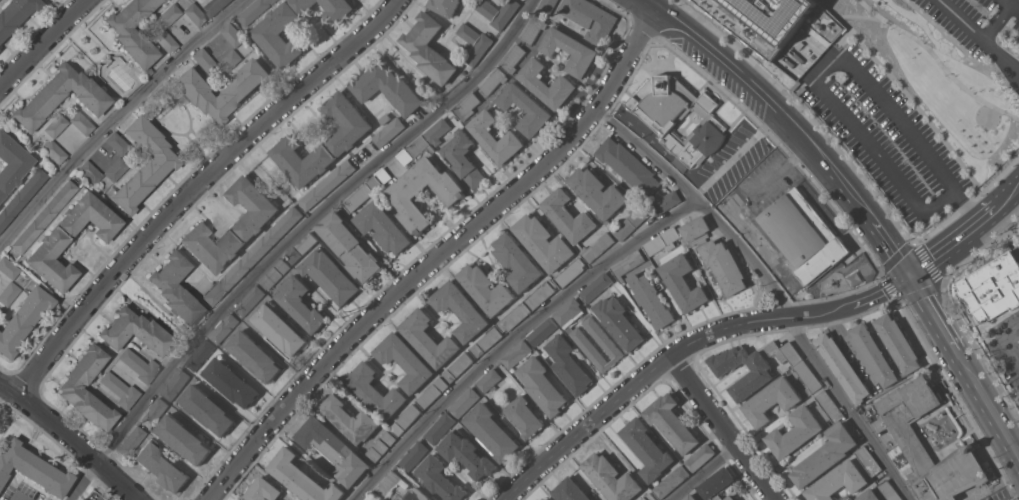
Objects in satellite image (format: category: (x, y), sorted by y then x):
road: (1011, 5)
building: (214, 6)
building: (444, 6)
building: (546, 6)
building: (337, 9)
building: (253, 10)
building: (498, 11)
building: (15, 14)
building: (168, 15)
building: (194, 15)
road: (859, 15)
building: (590, 18)
road: (842, 21)
road: (995, 21)
building: (532, 28)
building: (780, 28)
road: (941, 30)
building: (133, 31)
building: (281, 31)
building: (232, 34)
road: (980, 36)
building: (165, 41)
building: (474, 43)
road: (44, 44)
building: (428, 48)
building: (569, 50)
building: (512, 57)
building: (229, 60)
road: (938, 61)
building: (205, 62)
building: (493, 80)
road: (816, 80)
building: (546, 83)
building: (386, 87)
building: (222, 89)
building: (60, 96)
building: (466, 105)
building: (524, 108)
road: (803, 112)
road: (922, 114)
building: (678, 116)
road: (117, 118)
building: (81, 123)
road: (795, 123)
building: (55, 126)
building: (437, 130)
building: (389, 131)
building: (495, 137)
building: (344, 138)
building: (116, 143)
building: (414, 149)
building: (54, 151)
building: (463, 158)
building: (11, 164)
building: (144, 164)
building: (627, 165)
building: (115, 169)
building: (89, 172)
building: (379, 179)
building: (326, 184)
road: (196, 188)
building: (402, 195)
building: (21, 197)
building: (357, 198)
building: (607, 200)
building: (666, 201)
road: (967, 201)
road: (965, 207)
building: (44, 217)
building: (250, 223)
building: (575, 224)
building: (383, 226)
building: (748, 229)
road: (966, 233)
building: (803, 235)
road: (291, 238)
building: (662, 240)
building: (53, 241)
building: (543, 242)
building: (350, 245)
building: (301, 247)
road: (980, 249)
building: (715, 255)
building: (252, 256)
road: (439, 256)
building: (518, 261)
building: (628, 263)
road: (885, 267)
building: (8, 268)
building: (570, 272)
building: (274, 273)
building: (330, 275)
traffic signals: (910, 276)
building: (683, 282)
building: (595, 286)
road: (773, 287)
building: (992, 287)
building: (175, 288)
building: (486, 288)
building: (8, 293)
building: (540, 294)
building: (651, 299)
building: (249, 300)
building: (300, 303)
building: (461, 309)
building: (514, 316)
building: (23, 319)
building: (618, 321)
building: (223, 327)
building: (279, 328)
building: (542, 330)
building: (135, 332)
road: (516, 336)
building: (428, 338)
building: (485, 341)
building: (898, 342)
building: (585, 343)
road: (686, 346)
building: (784, 351)
road: (978, 352)
building: (516, 353)
building: (200, 354)
building: (873, 354)
building: (253, 355)
building: (405, 360)
building: (569, 364)
building: (139, 366)
building: (457, 367)
building: (843, 367)
road: (964, 368)
building: (760, 372)
building: (807, 376)
building: (489, 380)
building: (230, 381)
building: (176, 384)
building: (542, 386)
building: (70, 388)
building: (119, 390)
building: (375, 391)
building: (432, 392)
building: (772, 400)
building: (464, 401)
building: (828, 406)
building: (206, 409)
building: (154, 412)
building: (524, 416)
building: (349, 419)
building: (405, 419)
building: (671, 422)
building: (440, 427)
road: (723, 427)
building: (491, 432)
building: (794, 432)
building: (904, 432)
building: (182, 438)
building: (131, 441)
road: (69, 442)
building: (381, 446)
building: (647, 448)
building: (333, 449)
building: (466, 454)
building: (825, 455)
building: (413, 456)
building: (698, 457)
building: (868, 460)
building: (161, 466)
building: (32, 469)
road: (703, 472)
building: (611, 477)
building: (301, 478)
building: (439, 478)
building: (671, 480)
building: (837, 481)
building: (389, 484)
building: (717, 484)
building: (263, 490)
building: (569, 490)
building: (889, 490)
building: (418, 495)
building: (869, 495)
building: (371, 497)
building: (648, 497)
building: (690, 497)
building: (77, 499)
building: (544, 499)
building: (602, 499)
building: (602, 499)
road: (1018, 499)

